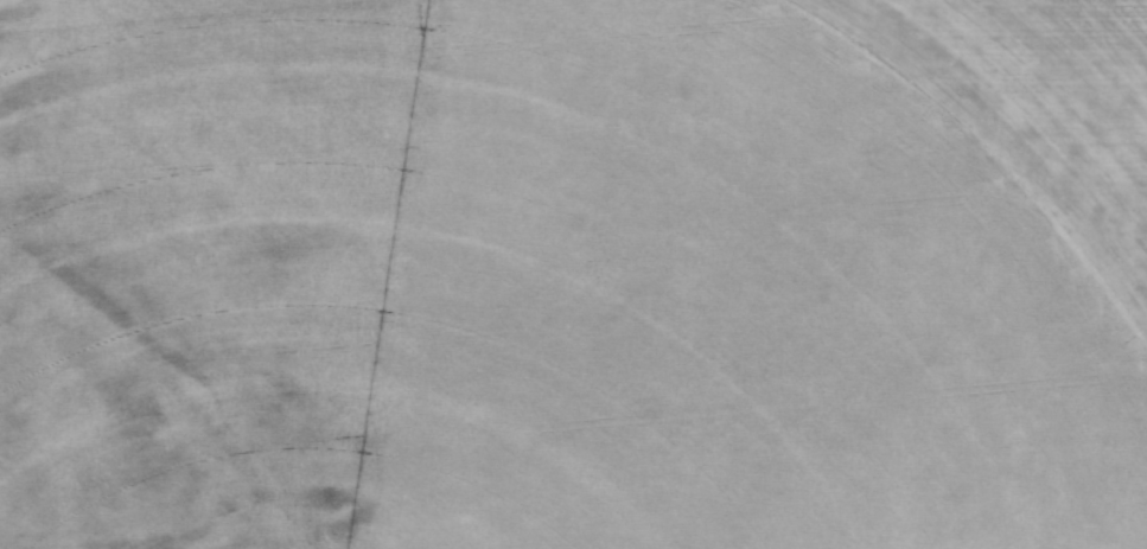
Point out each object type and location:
crop: (573, 274)

